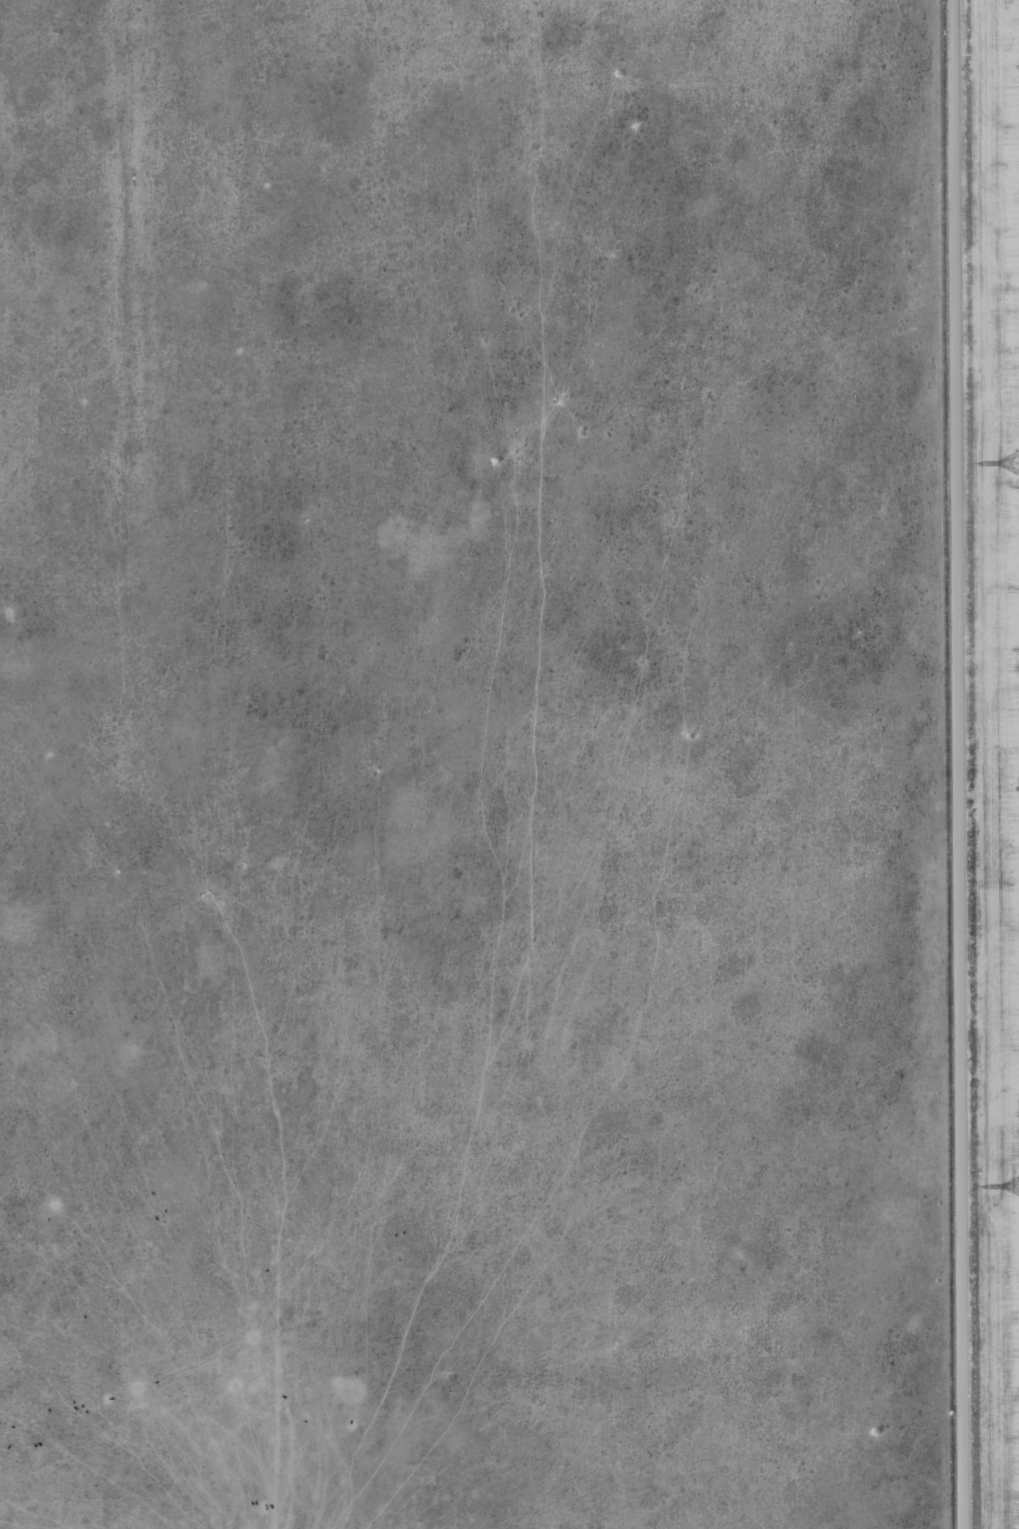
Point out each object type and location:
road: (959, 764)

